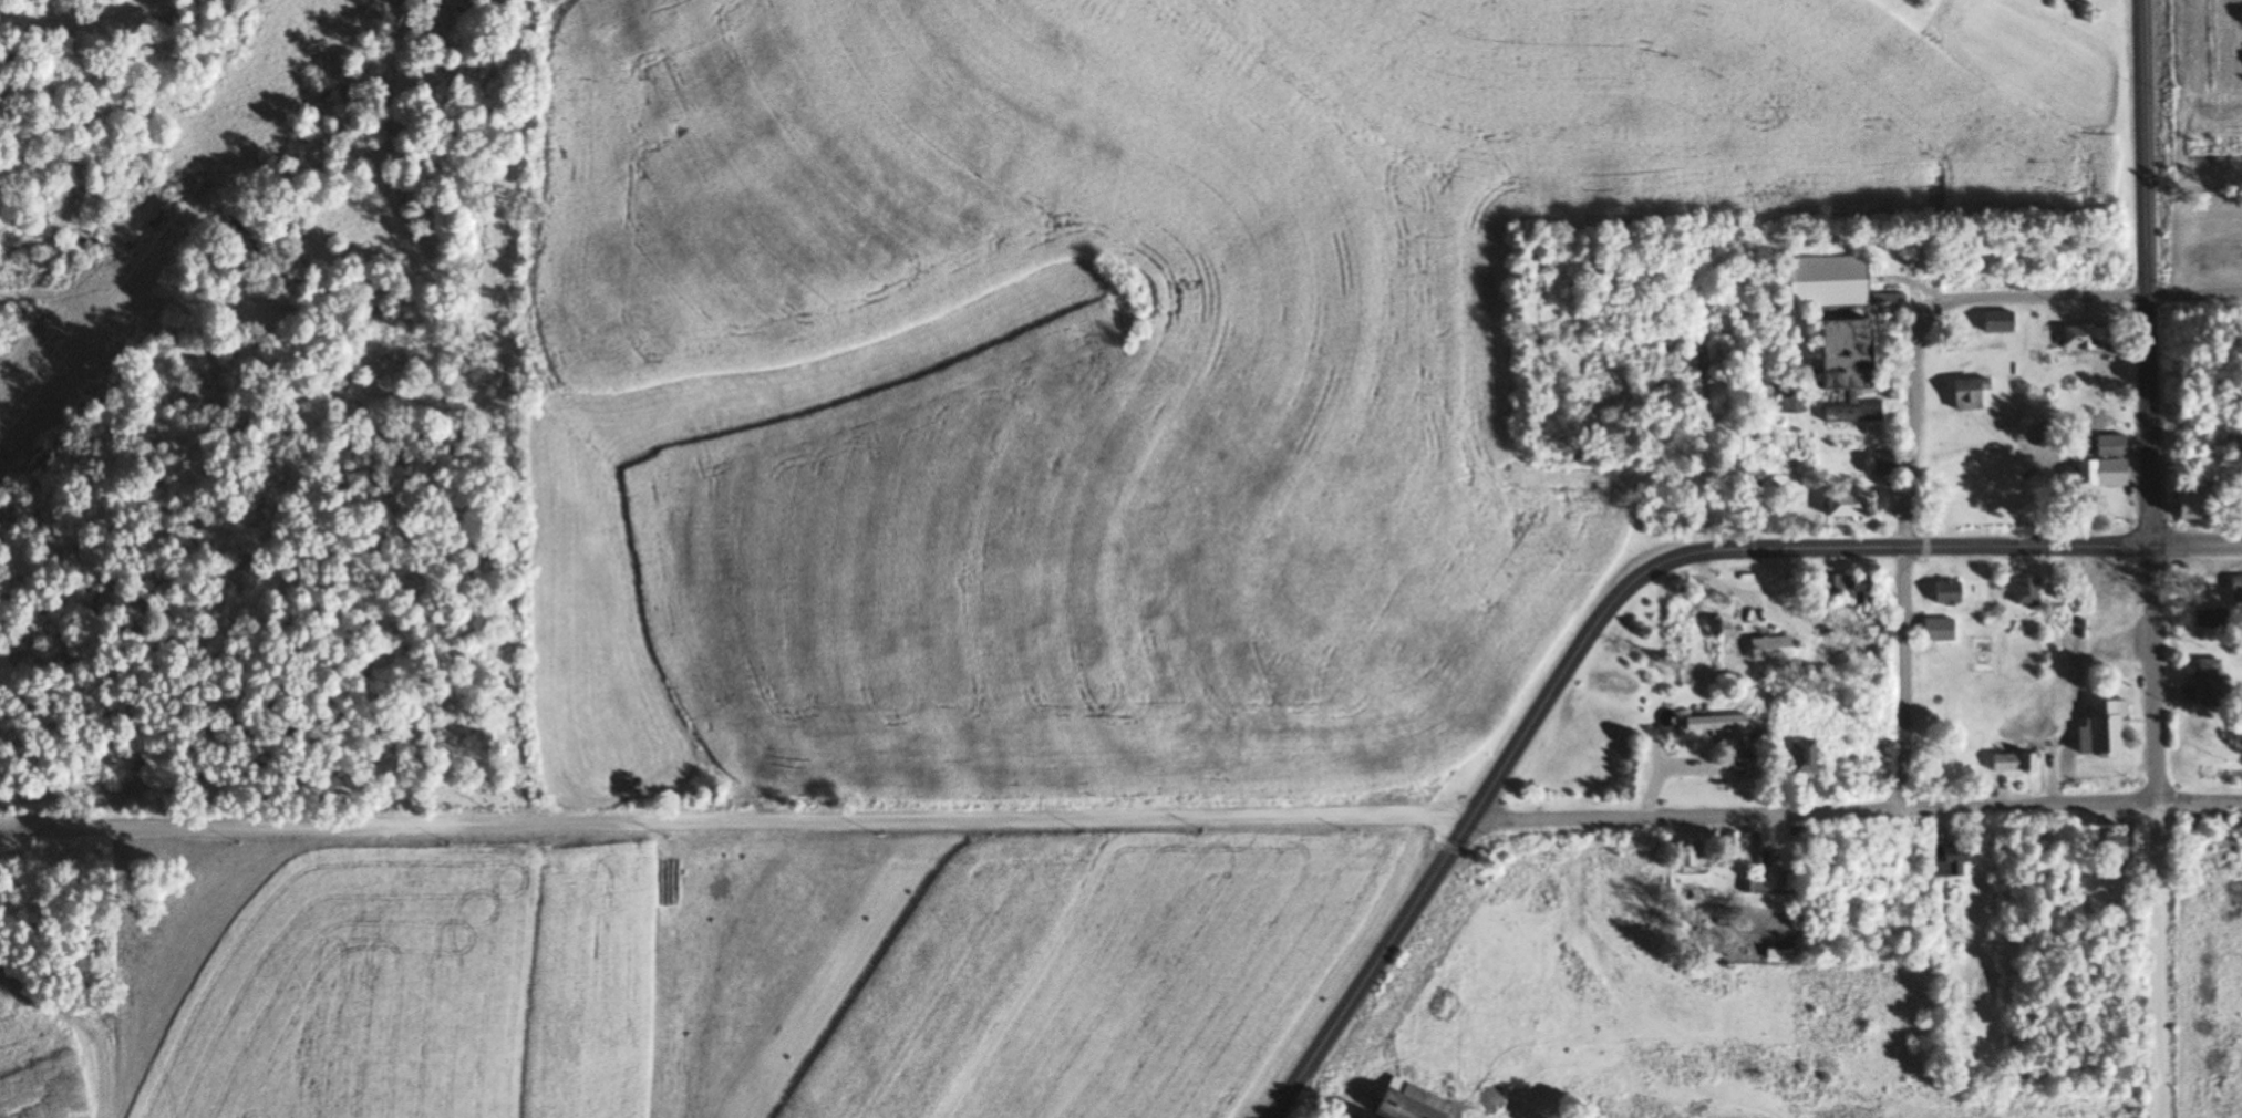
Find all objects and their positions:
road: (2145, 272)
building: (1820, 281)
road: (1969, 299)
building: (1995, 322)
building: (2080, 337)
crop: (1134, 358)
building: (2076, 362)
building: (1840, 370)
building: (1964, 393)
building: (2086, 401)
building: (1790, 402)
building: (2108, 445)
building: (1881, 462)
building: (2098, 473)
building: (1838, 506)
building: (2183, 506)
road: (2197, 544)
building: (1847, 589)
building: (1944, 592)
building: (2024, 592)
building: (2234, 593)
building: (2204, 619)
road: (1590, 622)
building: (1712, 625)
building: (1934, 629)
road: (1901, 675)
road: (2153, 675)
building: (2205, 683)
building: (1713, 722)
building: (2099, 727)
building: (1797, 757)
building: (2009, 762)
road: (1120, 818)
building: (2109, 847)
building: (1684, 858)
building: (1947, 863)
building: (1972, 957)
road: (2156, 962)
crop: (753, 975)
crop: (35, 1062)
building: (1404, 1100)

